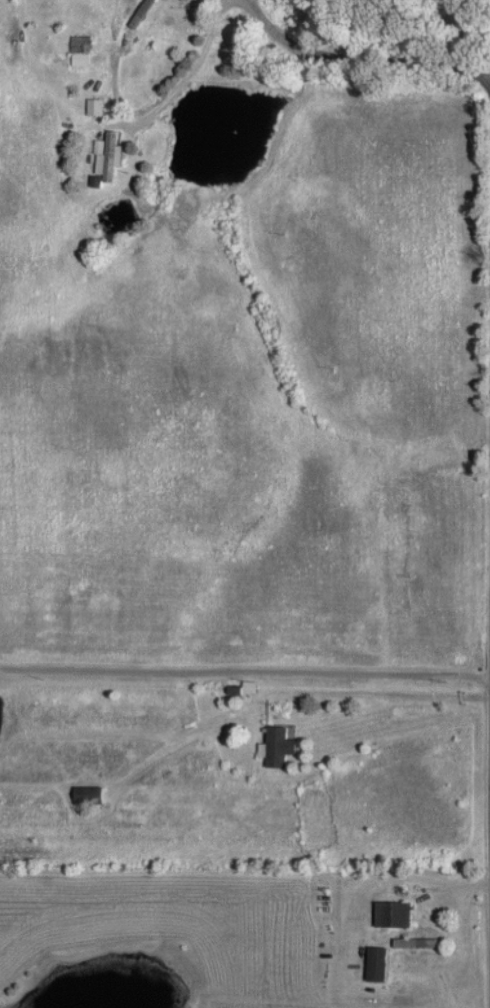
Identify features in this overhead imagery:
building: (143, 13)
building: (82, 49)
road: (363, 53)
building: (97, 106)
building: (108, 154)
building: (275, 745)
building: (390, 912)
building: (402, 941)
building: (373, 962)

